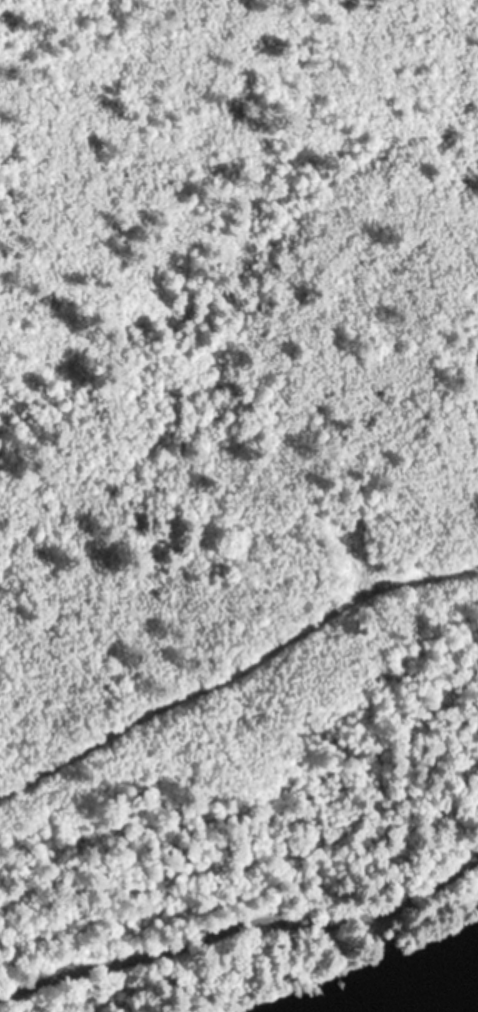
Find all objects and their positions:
road: (242, 914)

